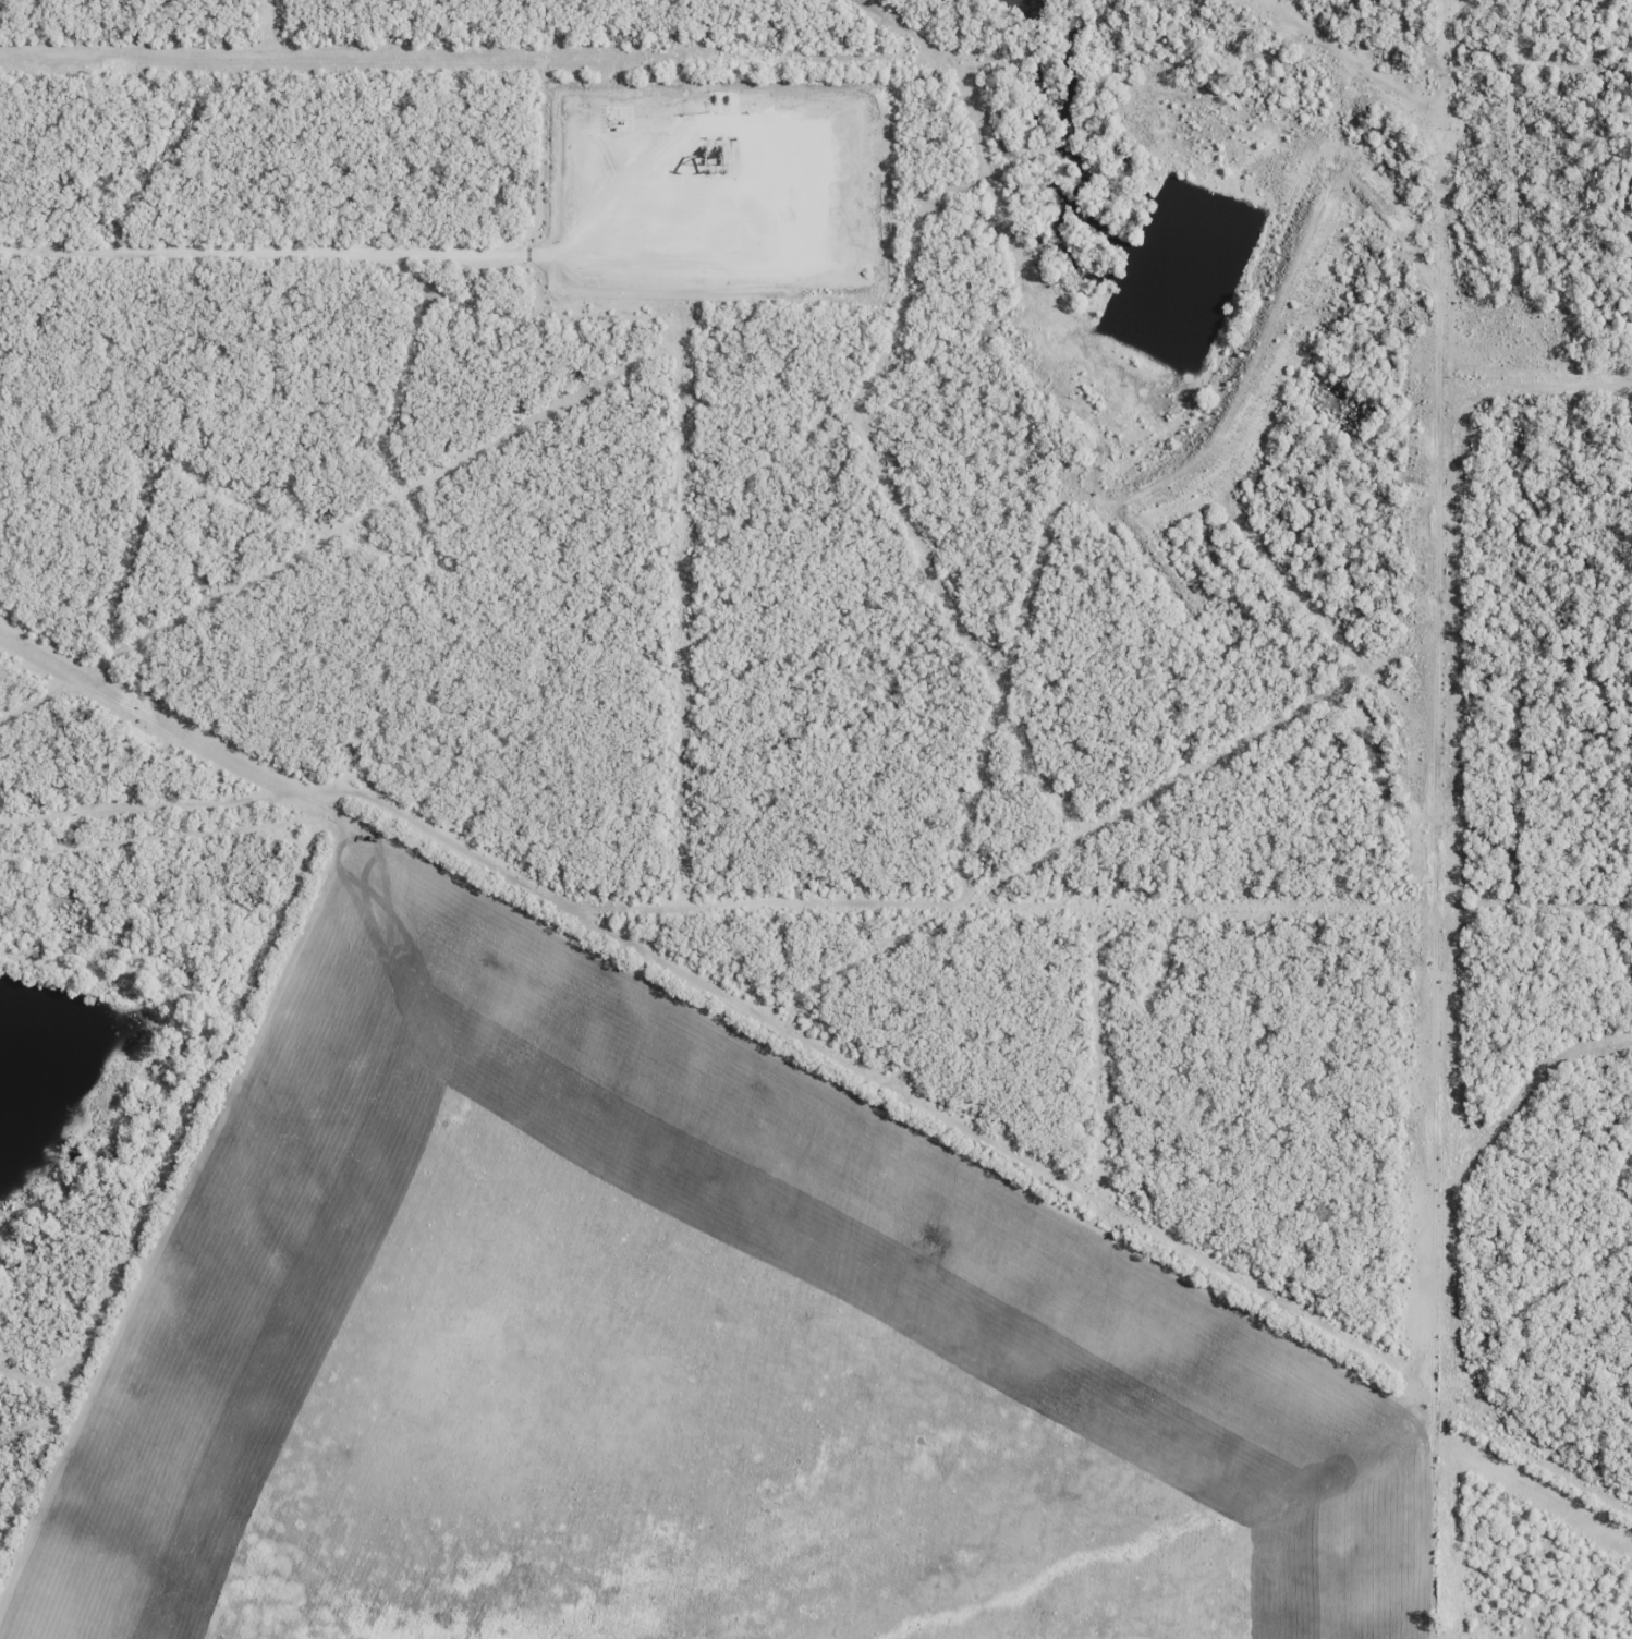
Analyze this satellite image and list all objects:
road: (1535, 1476)

